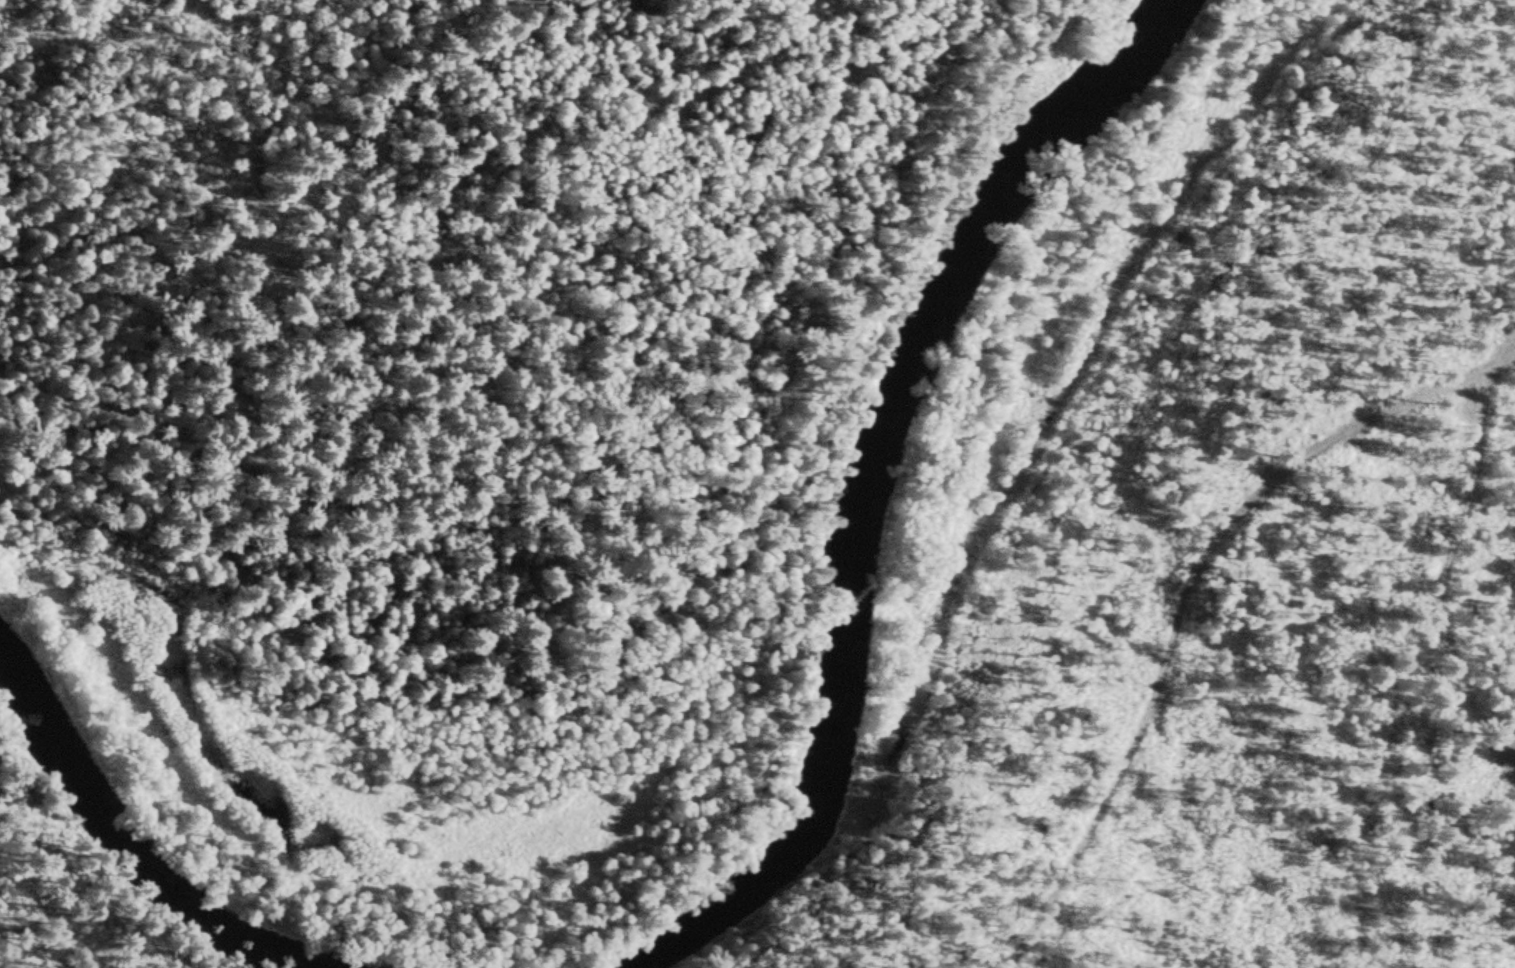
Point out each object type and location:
road: (1473, 483)
river: (874, 496)
river: (136, 839)

